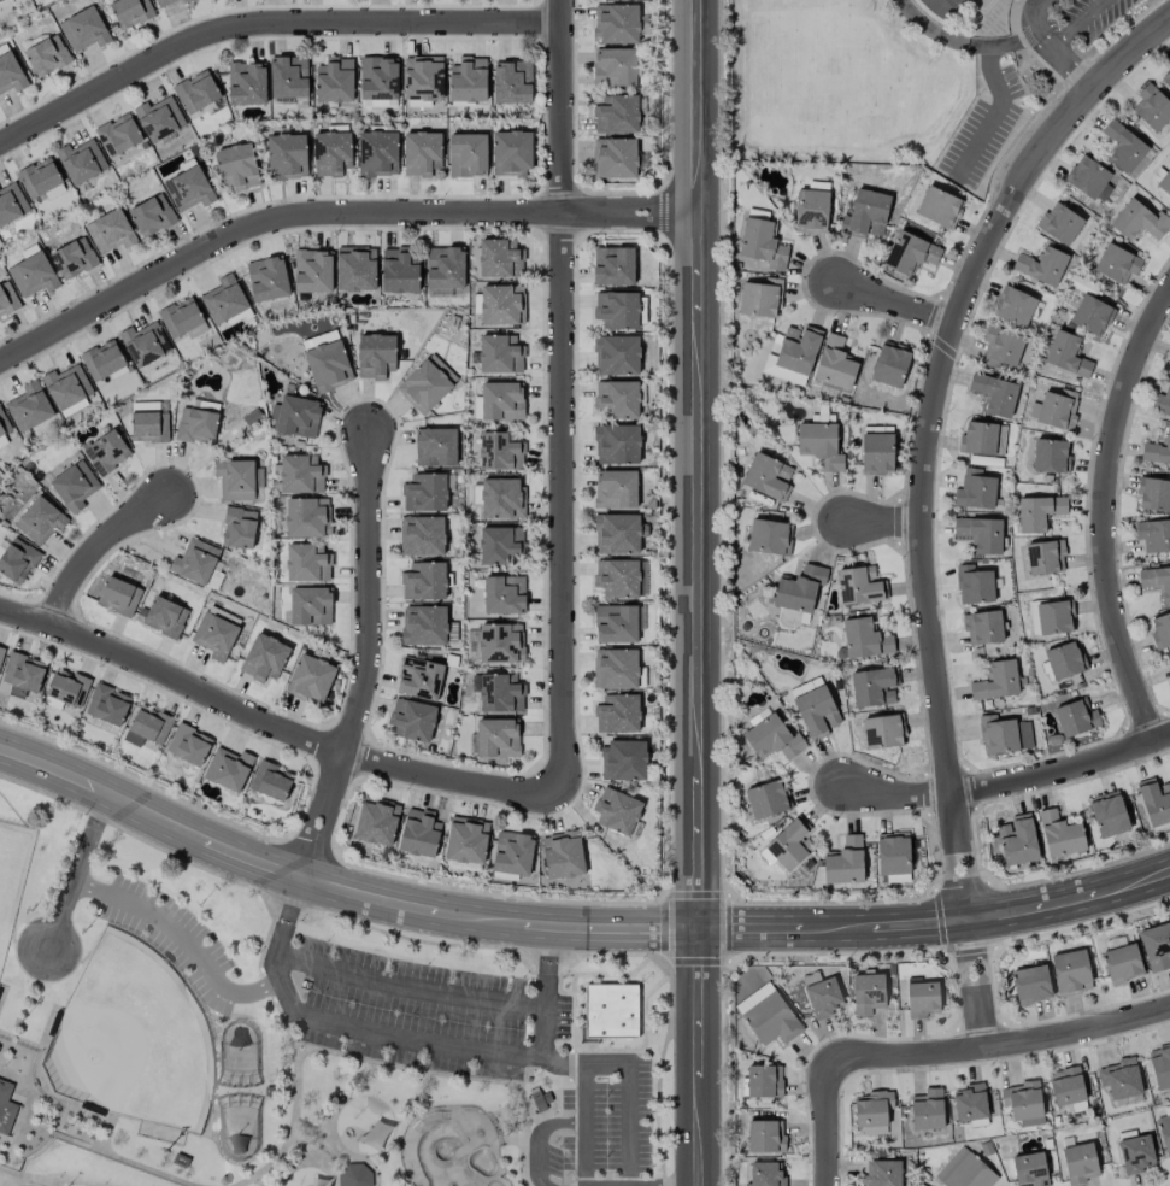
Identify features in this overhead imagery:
building: (1, 0)
building: (184, 1)
building: (163, 2)
building: (130, 12)
road: (266, 19)
road: (1077, 22)
building: (616, 23)
building: (83, 30)
road: (1053, 51)
building: (47, 55)
building: (615, 66)
building: (11, 74)
building: (288, 77)
building: (1165, 77)
building: (378, 78)
building: (422, 78)
building: (334, 80)
building: (468, 80)
building: (512, 82)
building: (246, 83)
road: (1000, 88)
building: (196, 92)
building: (1152, 107)
building: (616, 115)
building: (159, 118)
building: (118, 135)
building: (1123, 148)
building: (331, 153)
building: (377, 153)
building: (421, 153)
building: (511, 153)
building: (468, 154)
building: (287, 157)
building: (615, 159)
building: (81, 162)
building: (237, 166)
building: (39, 177)
building: (1087, 177)
building: (1164, 182)
building: (188, 189)
building: (11, 204)
building: (939, 207)
building: (811, 211)
road: (330, 213)
building: (865, 215)
building: (152, 216)
building: (1139, 221)
building: (1059, 223)
building: (110, 231)
building: (763, 245)
building: (910, 253)
building: (74, 258)
building: (500, 258)
building: (1116, 264)
building: (613, 265)
building: (1041, 265)
building: (355, 268)
building: (443, 268)
building: (400, 270)
building: (312, 271)
building: (33, 275)
building: (267, 278)
building: (440, 292)
building: (762, 298)
building: (7, 299)
building: (224, 300)
building: (502, 305)
road: (896, 305)
building: (1013, 306)
building: (617, 310)
building: (1090, 315)
building: (182, 319)
building: (145, 344)
building: (1000, 347)
building: (798, 348)
building: (500, 354)
building: (1066, 354)
building: (376, 356)
building: (617, 356)
building: (102, 362)
building: (834, 363)
building: (890, 364)
building: (328, 365)
building: (781, 372)
building: (427, 383)
building: (66, 387)
building: (995, 394)
road: (564, 395)
building: (617, 398)
building: (501, 401)
building: (1163, 403)
building: (28, 407)
building: (1054, 409)
building: (295, 417)
building: (196, 424)
building: (149, 427)
building: (2, 429)
road: (928, 434)
building: (977, 439)
building: (617, 444)
building: (819, 445)
building: (435, 447)
building: (500, 451)
building: (1157, 451)
building: (106, 452)
building: (876, 453)
building: (1051, 456)
building: (301, 474)
building: (768, 477)
building: (235, 480)
building: (75, 486)
building: (616, 489)
building: (975, 489)
building: (424, 493)
building: (1153, 494)
building: (501, 498)
building: (1037, 512)
road: (1105, 515)
building: (307, 517)
building: (40, 521)
road: (883, 521)
building: (239, 528)
building: (618, 534)
building: (980, 534)
building: (1153, 535)
building: (422, 536)
building: (769, 536)
building: (5, 541)
building: (500, 545)
road: (96, 548)
building: (1045, 557)
building: (17, 560)
building: (195, 562)
building: (307, 563)
building: (617, 577)
building: (424, 581)
building: (1157, 581)
building: (974, 585)
building: (859, 586)
building: (799, 588)
road: (696, 593)
building: (504, 594)
building: (118, 597)
building: (310, 606)
building: (165, 617)
building: (792, 618)
building: (1054, 618)
building: (616, 624)
building: (423, 626)
building: (983, 628)
building: (1160, 632)
building: (214, 635)
building: (864, 639)
building: (500, 644)
building: (1, 654)
building: (264, 658)
building: (1064, 660)
road: (371, 662)
building: (616, 669)
building: (22, 674)
building: (310, 679)
building: (419, 679)
building: (1169, 679)
building: (996, 681)
building: (874, 687)
building: (67, 688)
building: (499, 692)
building: (107, 705)
building: (816, 712)
building: (617, 714)
building: (1076, 718)
building: (412, 720)
road: (275, 722)
building: (147, 727)
building: (883, 730)
building: (998, 735)
building: (496, 738)
building: (772, 739)
building: (188, 745)
building: (623, 761)
building: (228, 769)
building: (271, 781)
road: (1010, 783)
building: (766, 799)
building: (1154, 800)
building: (617, 811)
building: (1107, 814)
building: (376, 821)
building: (419, 833)
building: (1059, 834)
building: (466, 840)
building: (1017, 840)
building: (790, 844)
building: (512, 853)
building: (893, 853)
building: (562, 855)
building: (845, 862)
park: (12, 874)
road: (77, 874)
road: (572, 929)
road: (183, 941)
building: (1156, 947)
building: (1122, 963)
building: (1070, 973)
road: (410, 985)
road: (978, 985)
building: (1031, 985)
building: (866, 993)
building: (822, 998)
building: (921, 999)
building: (610, 1011)
parking lot: (424, 1014)
building: (770, 1020)
park: (298, 1038)
park: (134, 1040)
road: (407, 1041)
road: (1001, 1047)
building: (1160, 1068)
building: (1121, 1079)
building: (764, 1081)
building: (1066, 1086)
road: (629, 1099)
road: (581, 1102)
building: (970, 1103)
building: (1022, 1103)
building: (6, 1108)
building: (927, 1109)
building: (872, 1112)
parking lot: (607, 1121)
road: (829, 1121)
building: (1164, 1132)
road: (540, 1135)
building: (765, 1137)
park: (451, 1149)
building: (1136, 1153)
building: (1080, 1162)
building: (964, 1170)
building: (1029, 1170)
building: (882, 1173)
building: (354, 1174)
building: (766, 1174)

